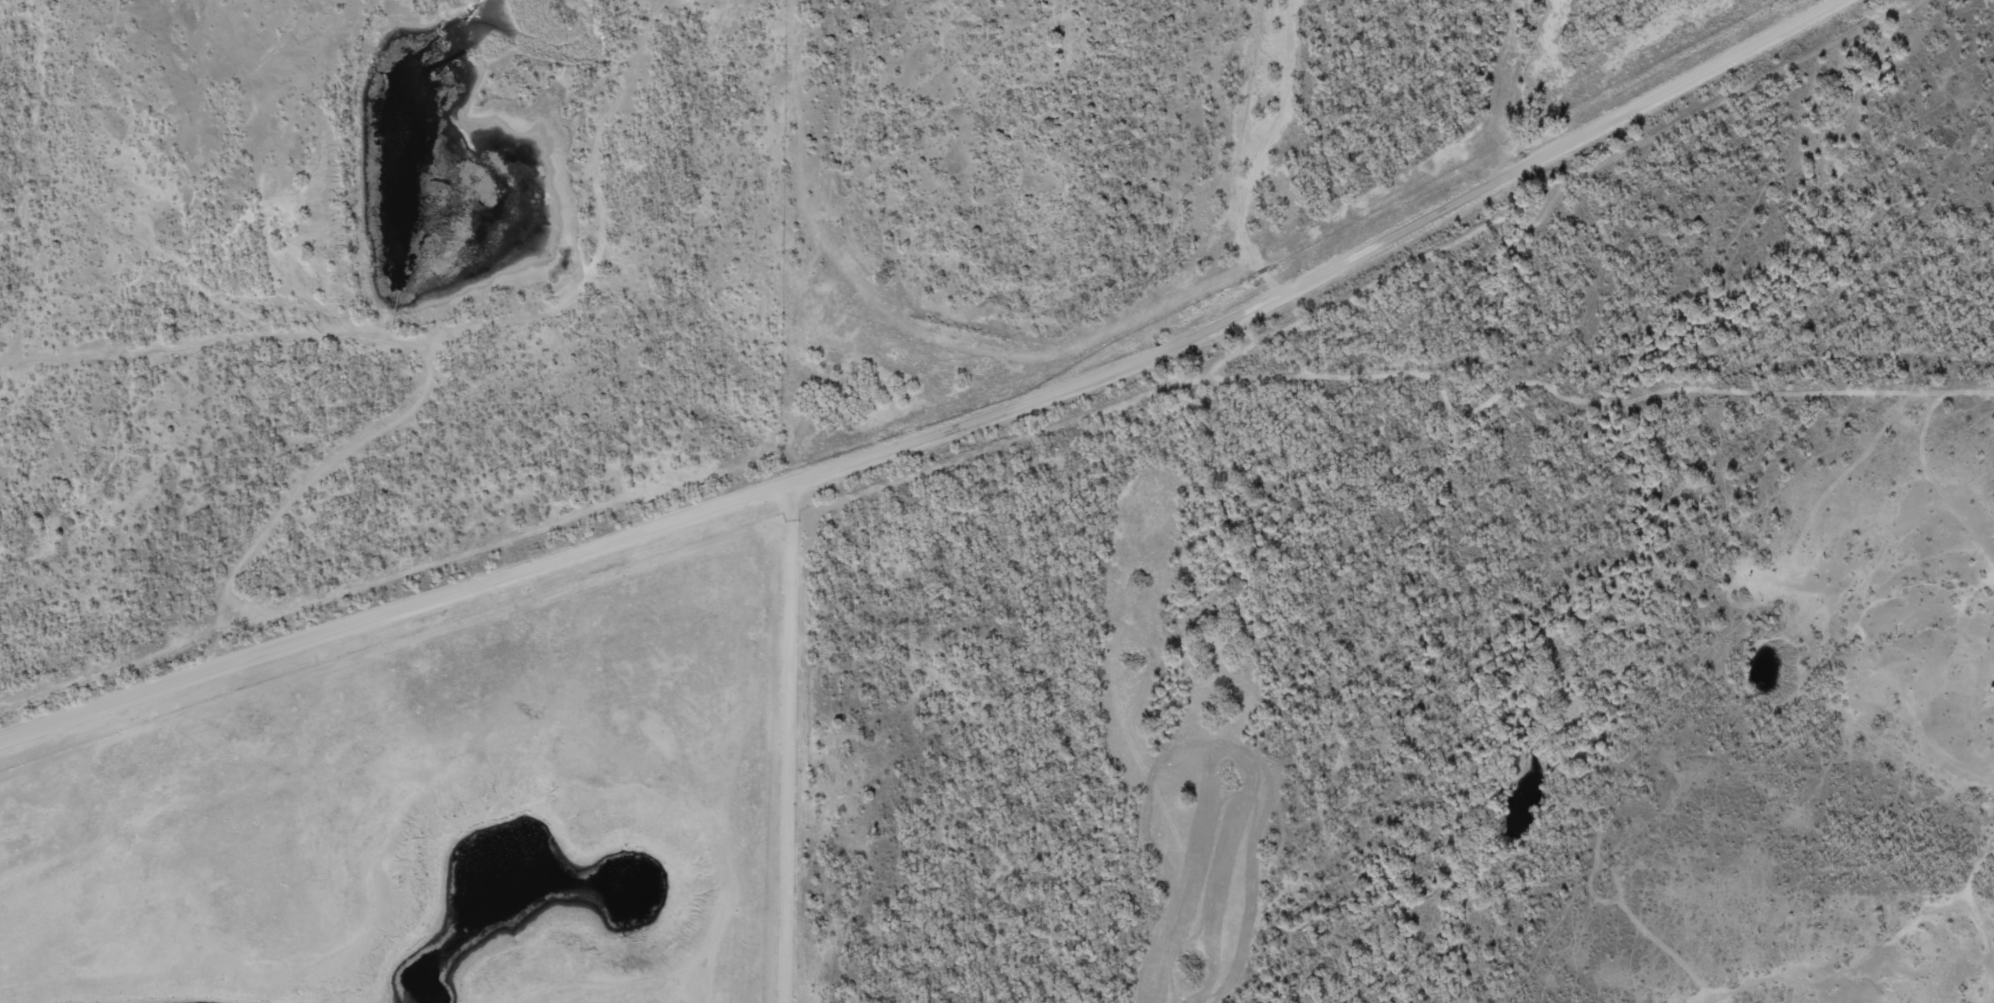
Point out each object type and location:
road: (938, 419)
road: (796, 742)

